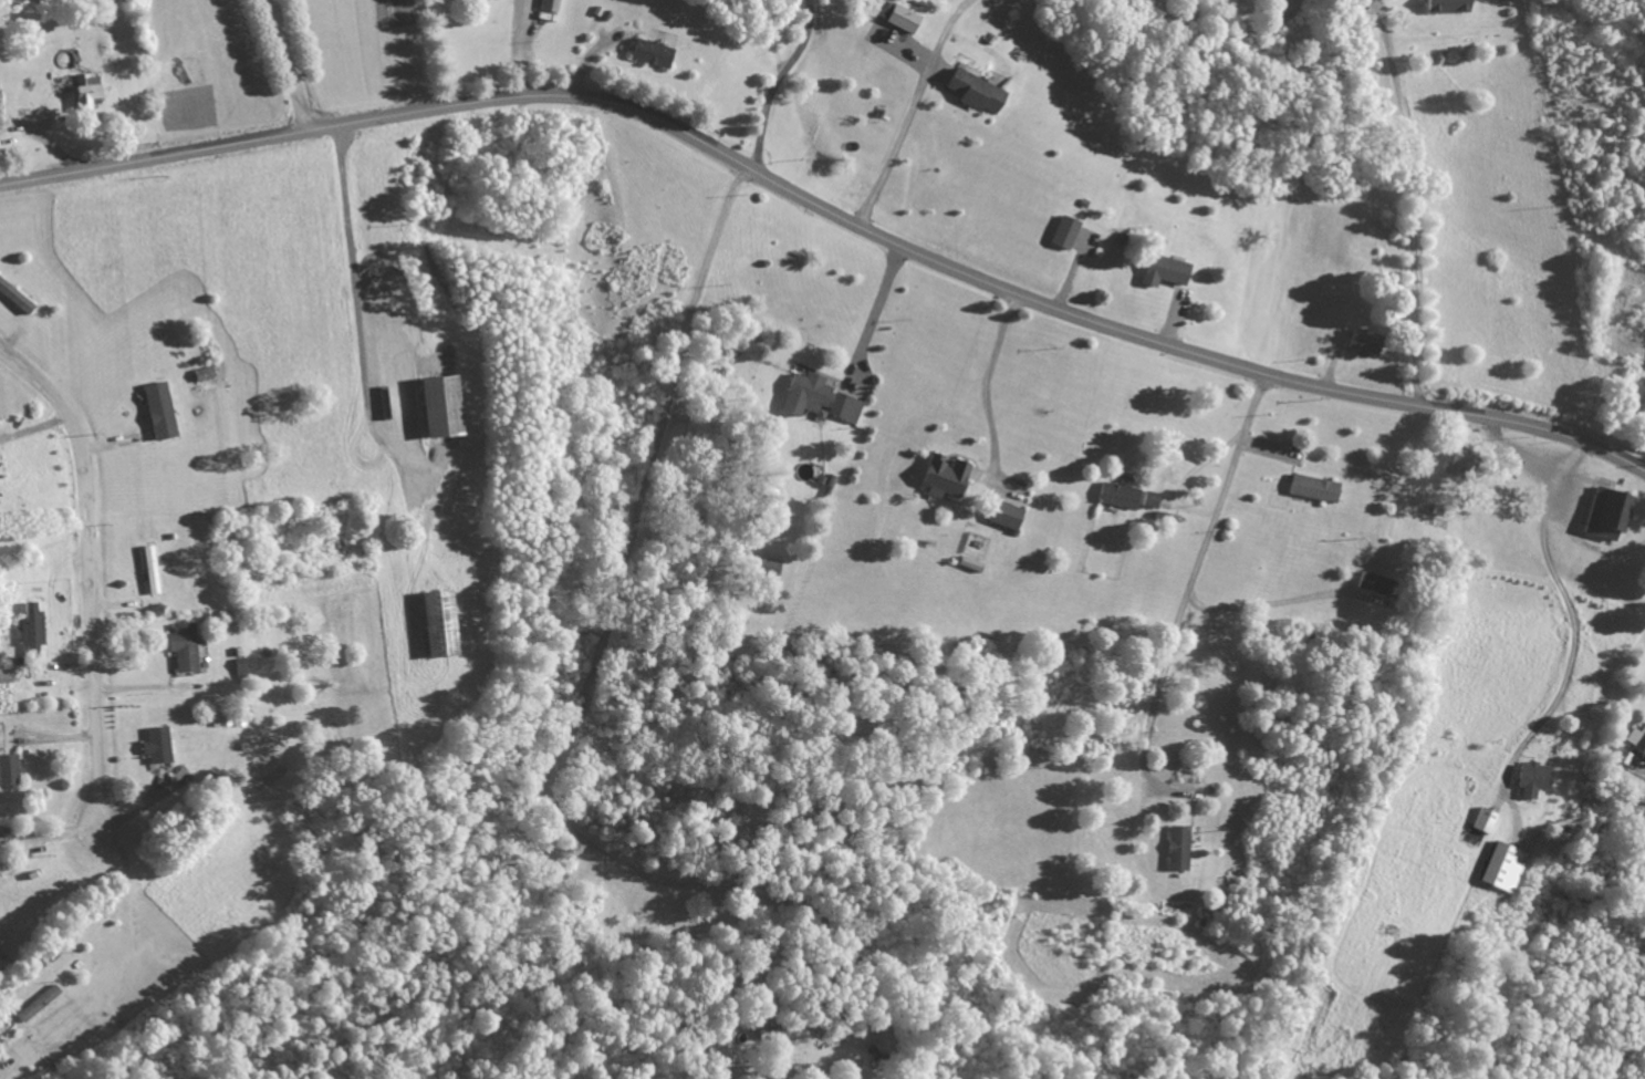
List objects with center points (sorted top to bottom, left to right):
building: (549, 4)
building: (1446, 6)
building: (897, 17)
building: (649, 52)
road: (290, 65)
road: (720, 70)
building: (85, 89)
building: (975, 91)
road: (944, 123)
road: (827, 212)
building: (1063, 231)
building: (1163, 271)
building: (14, 297)
building: (1363, 342)
building: (805, 393)
building: (440, 405)
building: (844, 407)
building: (158, 409)
building: (1459, 463)
building: (945, 476)
building: (1312, 487)
building: (1117, 495)
building: (1148, 499)
building: (1606, 513)
building: (1006, 515)
building: (767, 567)
building: (149, 569)
building: (1377, 584)
road: (89, 587)
road: (1343, 590)
building: (437, 623)
building: (31, 629)
building: (183, 646)
road: (941, 649)
building: (240, 667)
building: (4, 673)
building: (1635, 739)
building: (156, 745)
road: (1485, 755)
building: (8, 769)
building: (1532, 779)
building: (1483, 820)
building: (1177, 848)
building: (1502, 867)
building: (37, 1004)

